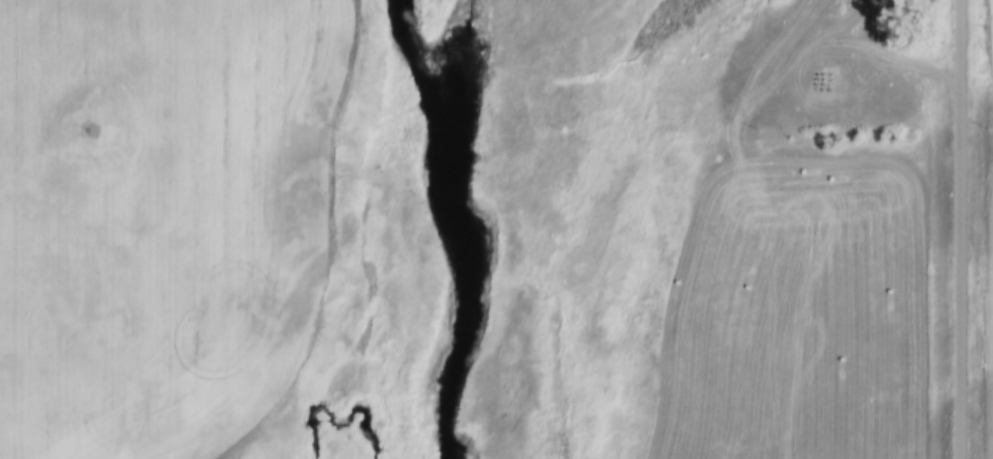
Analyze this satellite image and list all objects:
road: (875, 64)
road: (958, 229)

